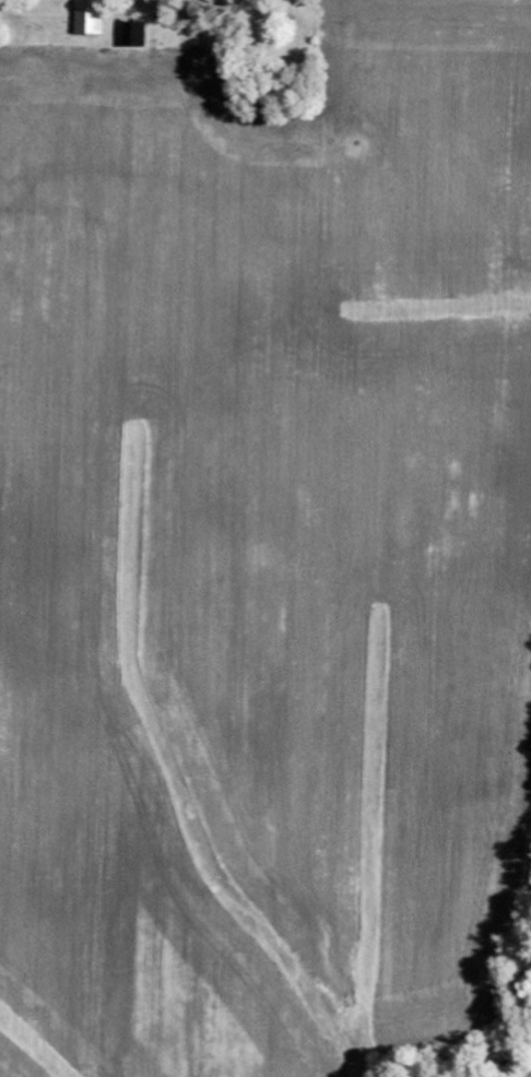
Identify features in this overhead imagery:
building: (90, 16)
building: (137, 33)

